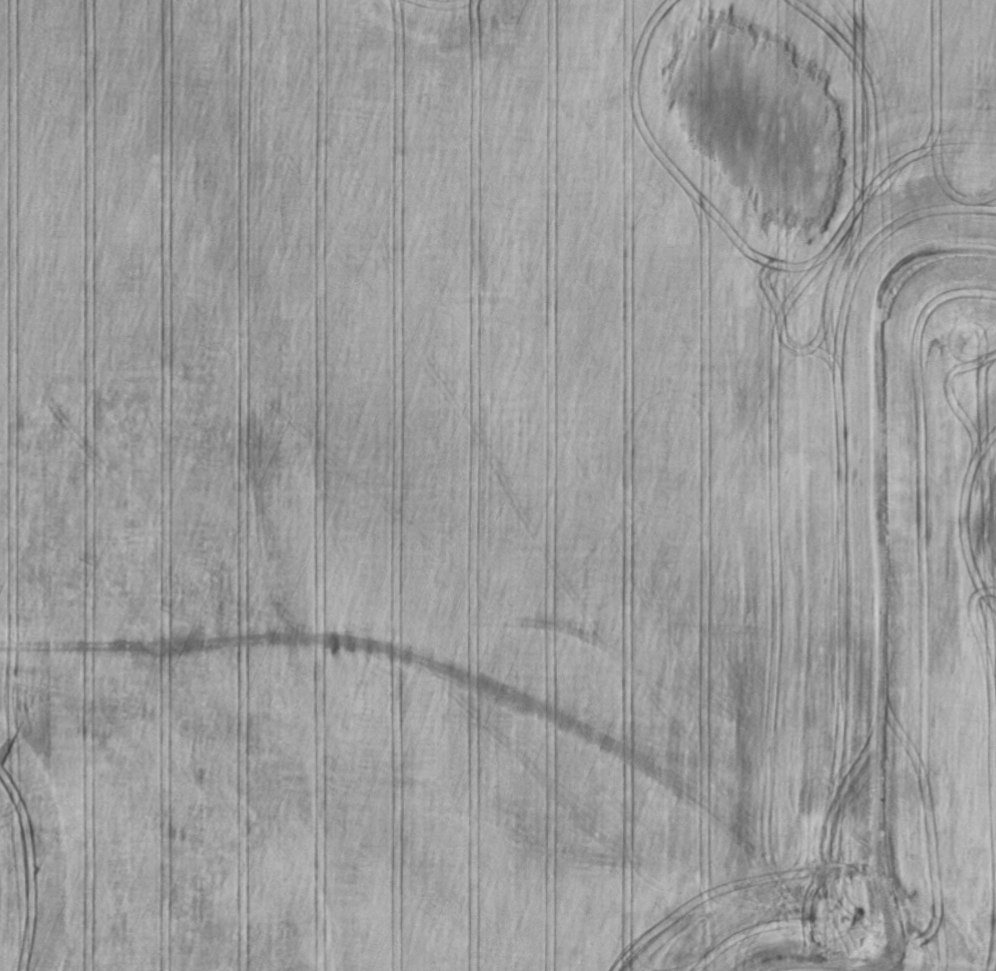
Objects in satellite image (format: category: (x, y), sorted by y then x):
road: (220, 698)

